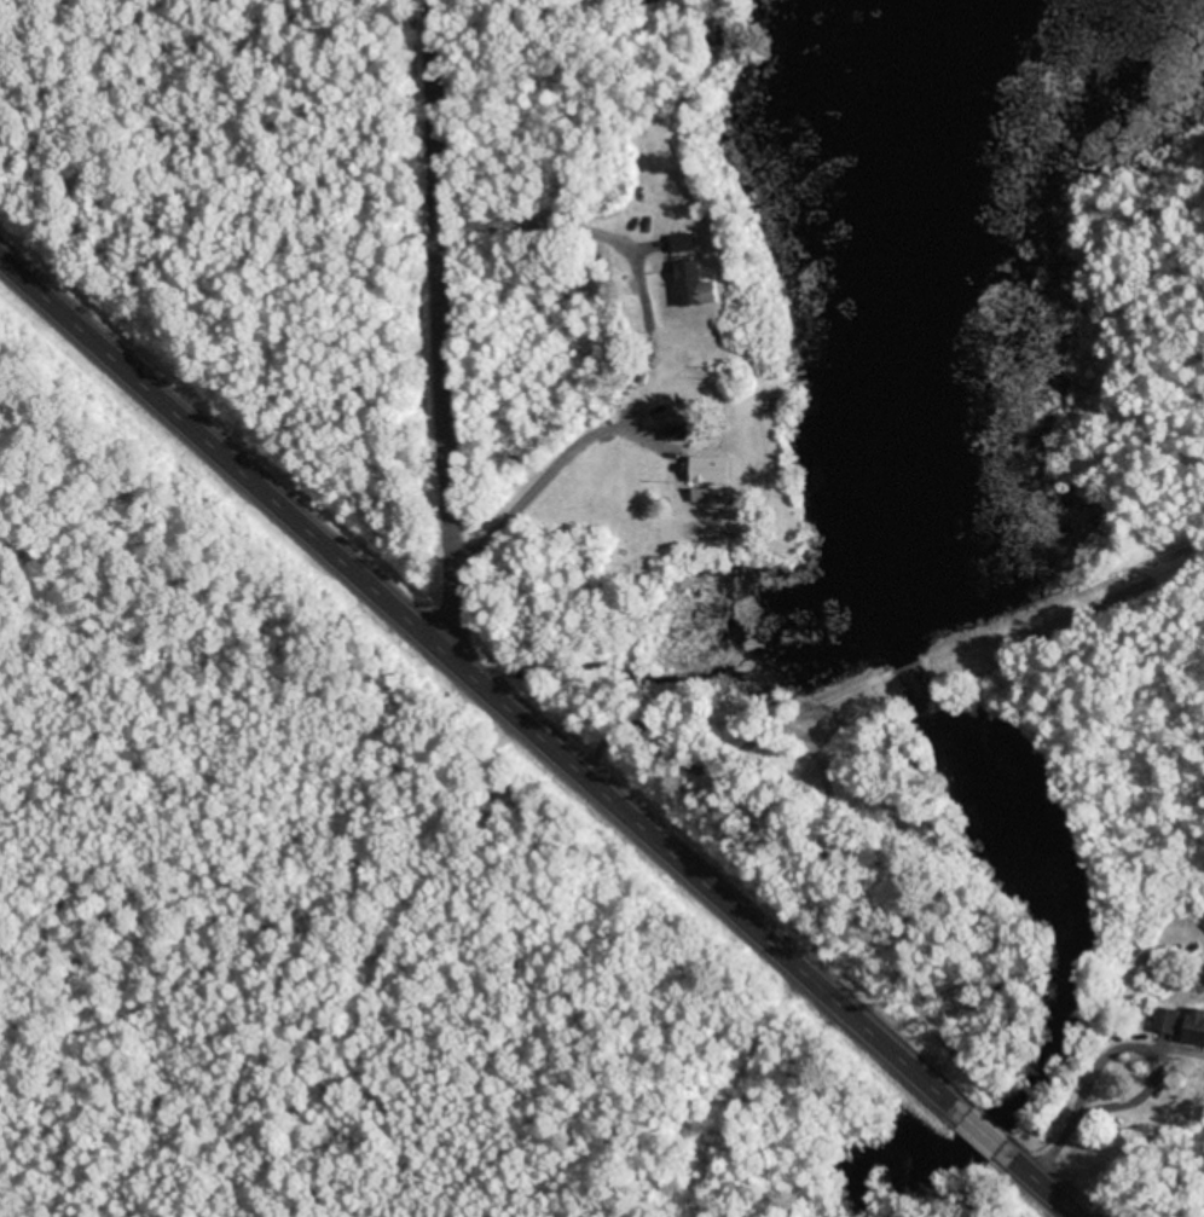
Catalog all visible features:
building: (689, 238)
building: (699, 282)
road: (439, 325)
building: (679, 430)
building: (716, 466)
dam: (901, 668)
road: (480, 672)
river: (904, 677)
building: (1173, 1018)
building: (1198, 1024)
road: (982, 1123)
road: (1047, 1182)

